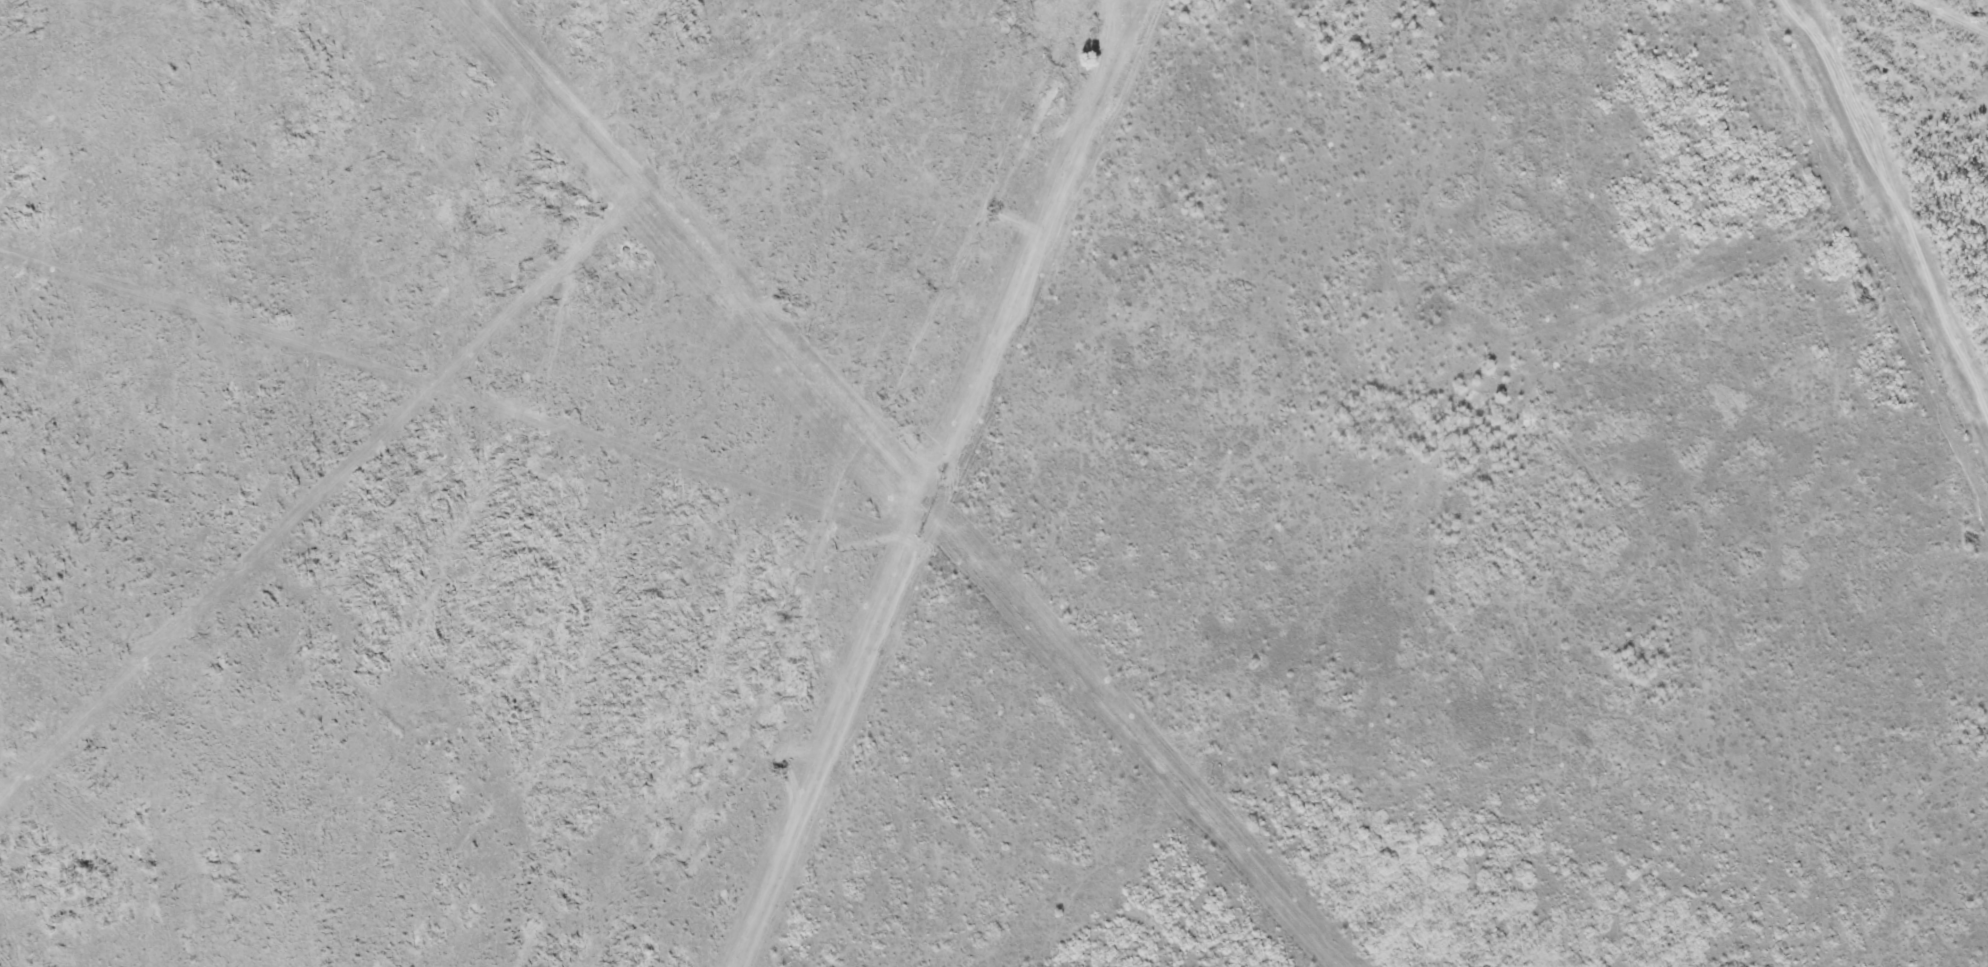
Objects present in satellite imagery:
road: (1860, 269)

